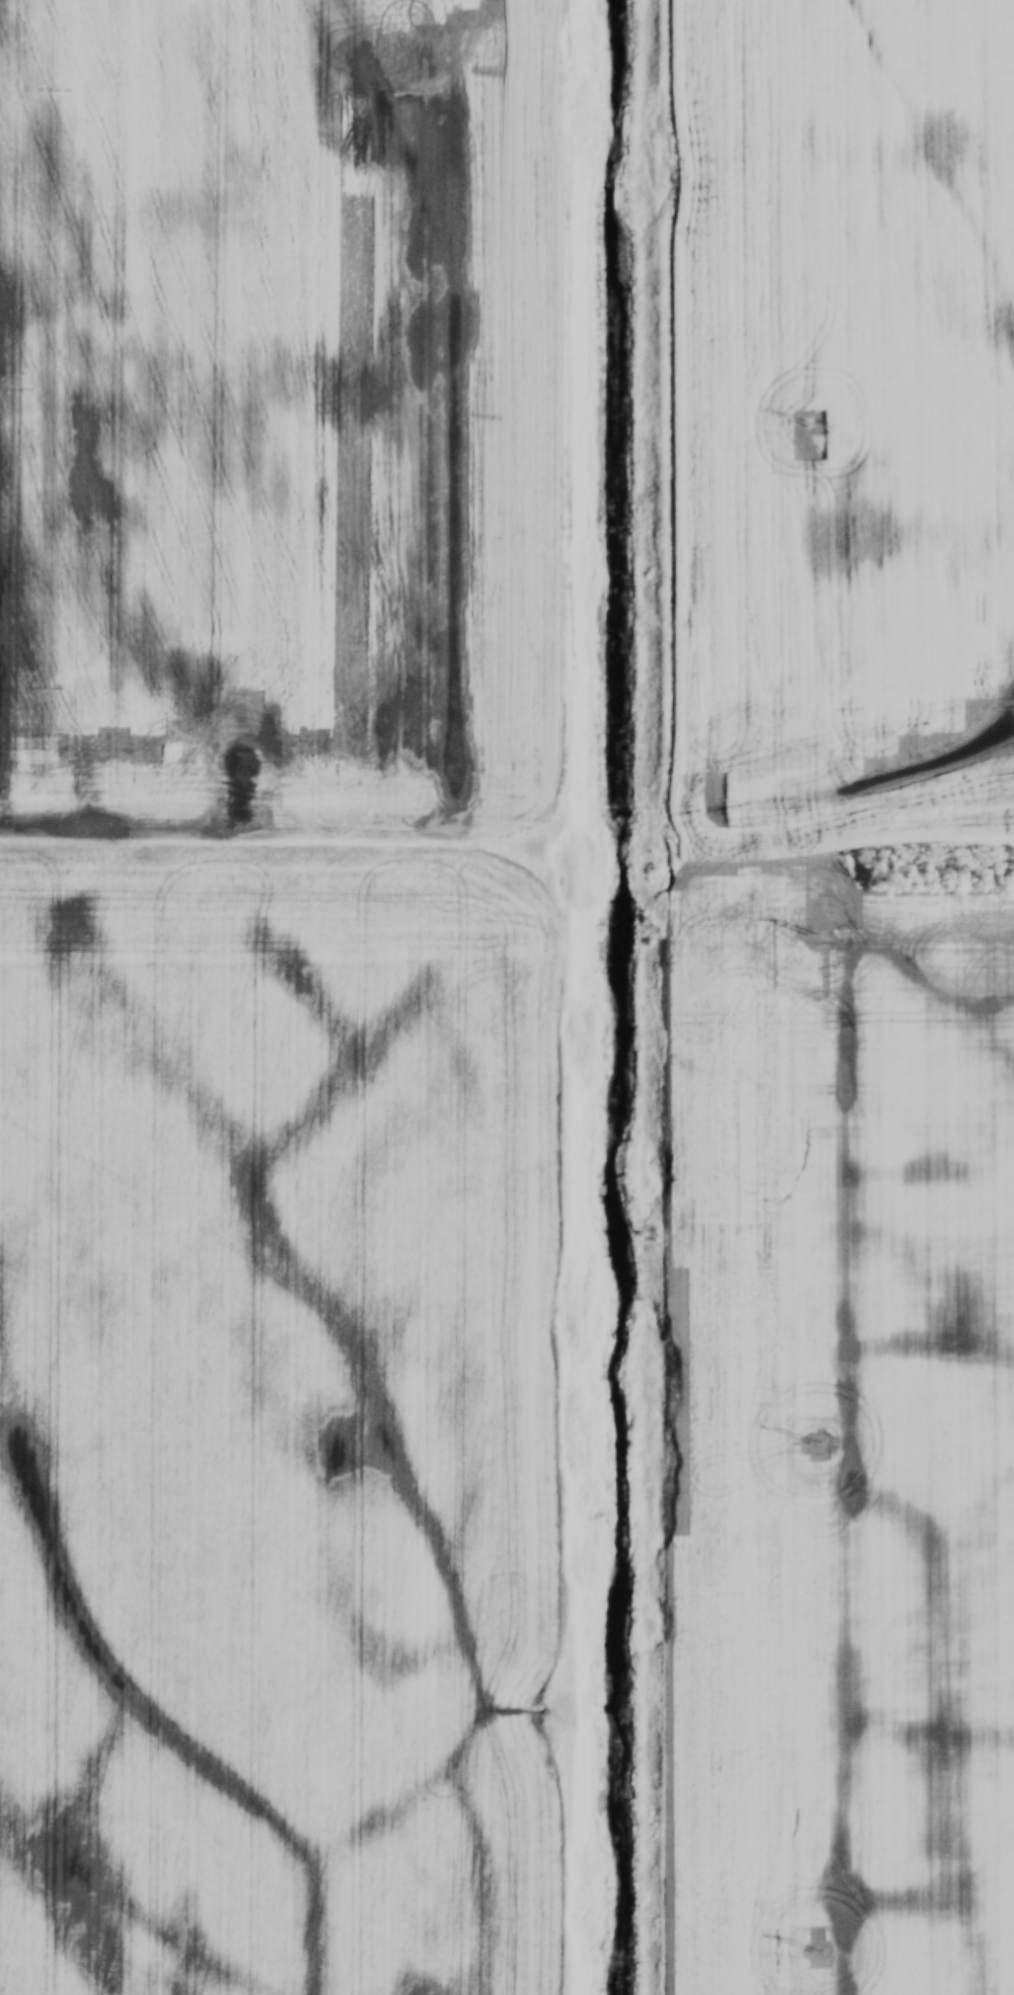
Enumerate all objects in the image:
power tower: (810, 427)
power tower: (813, 932)
power tower: (816, 1443)
power tower: (819, 1952)

